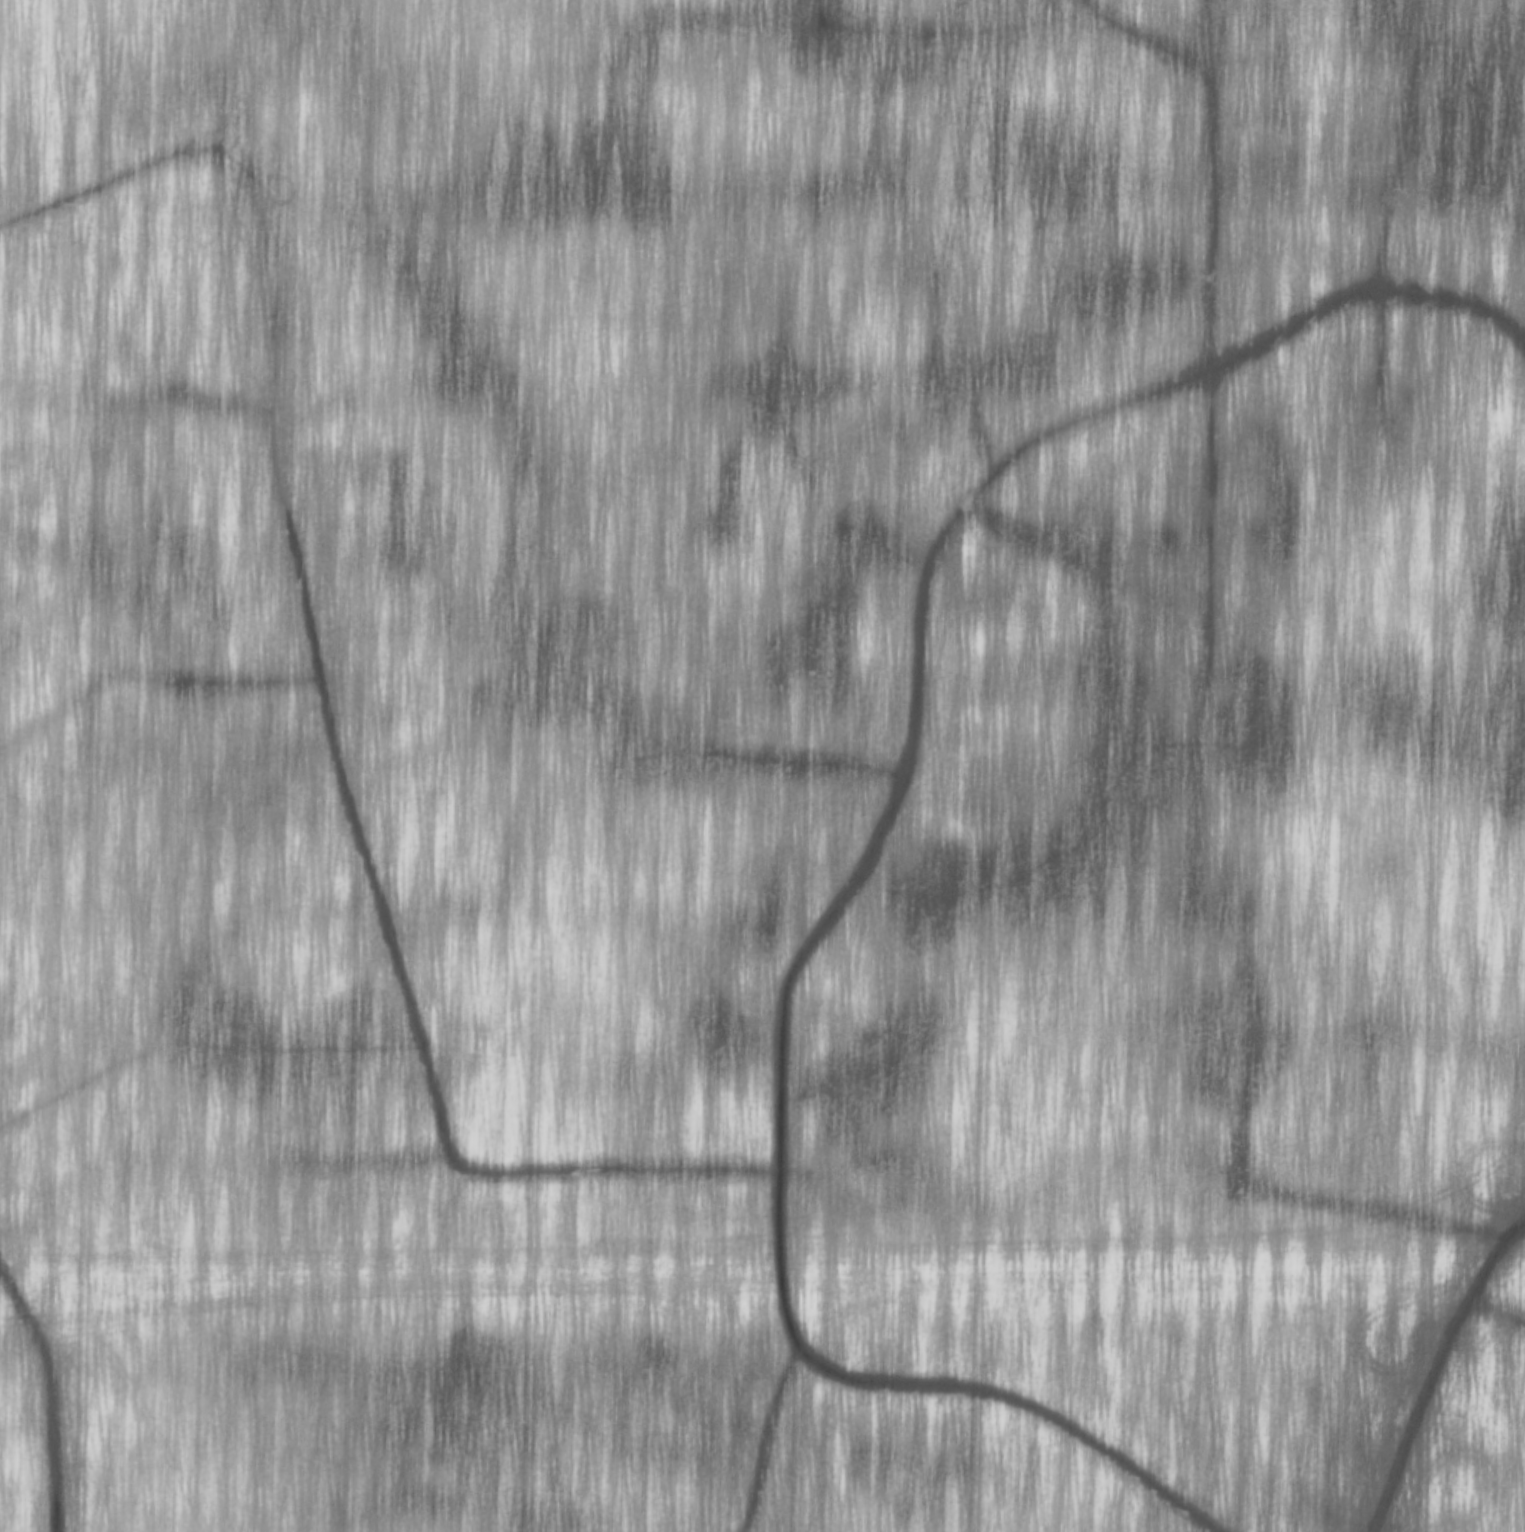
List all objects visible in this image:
crop: (762, 766)

